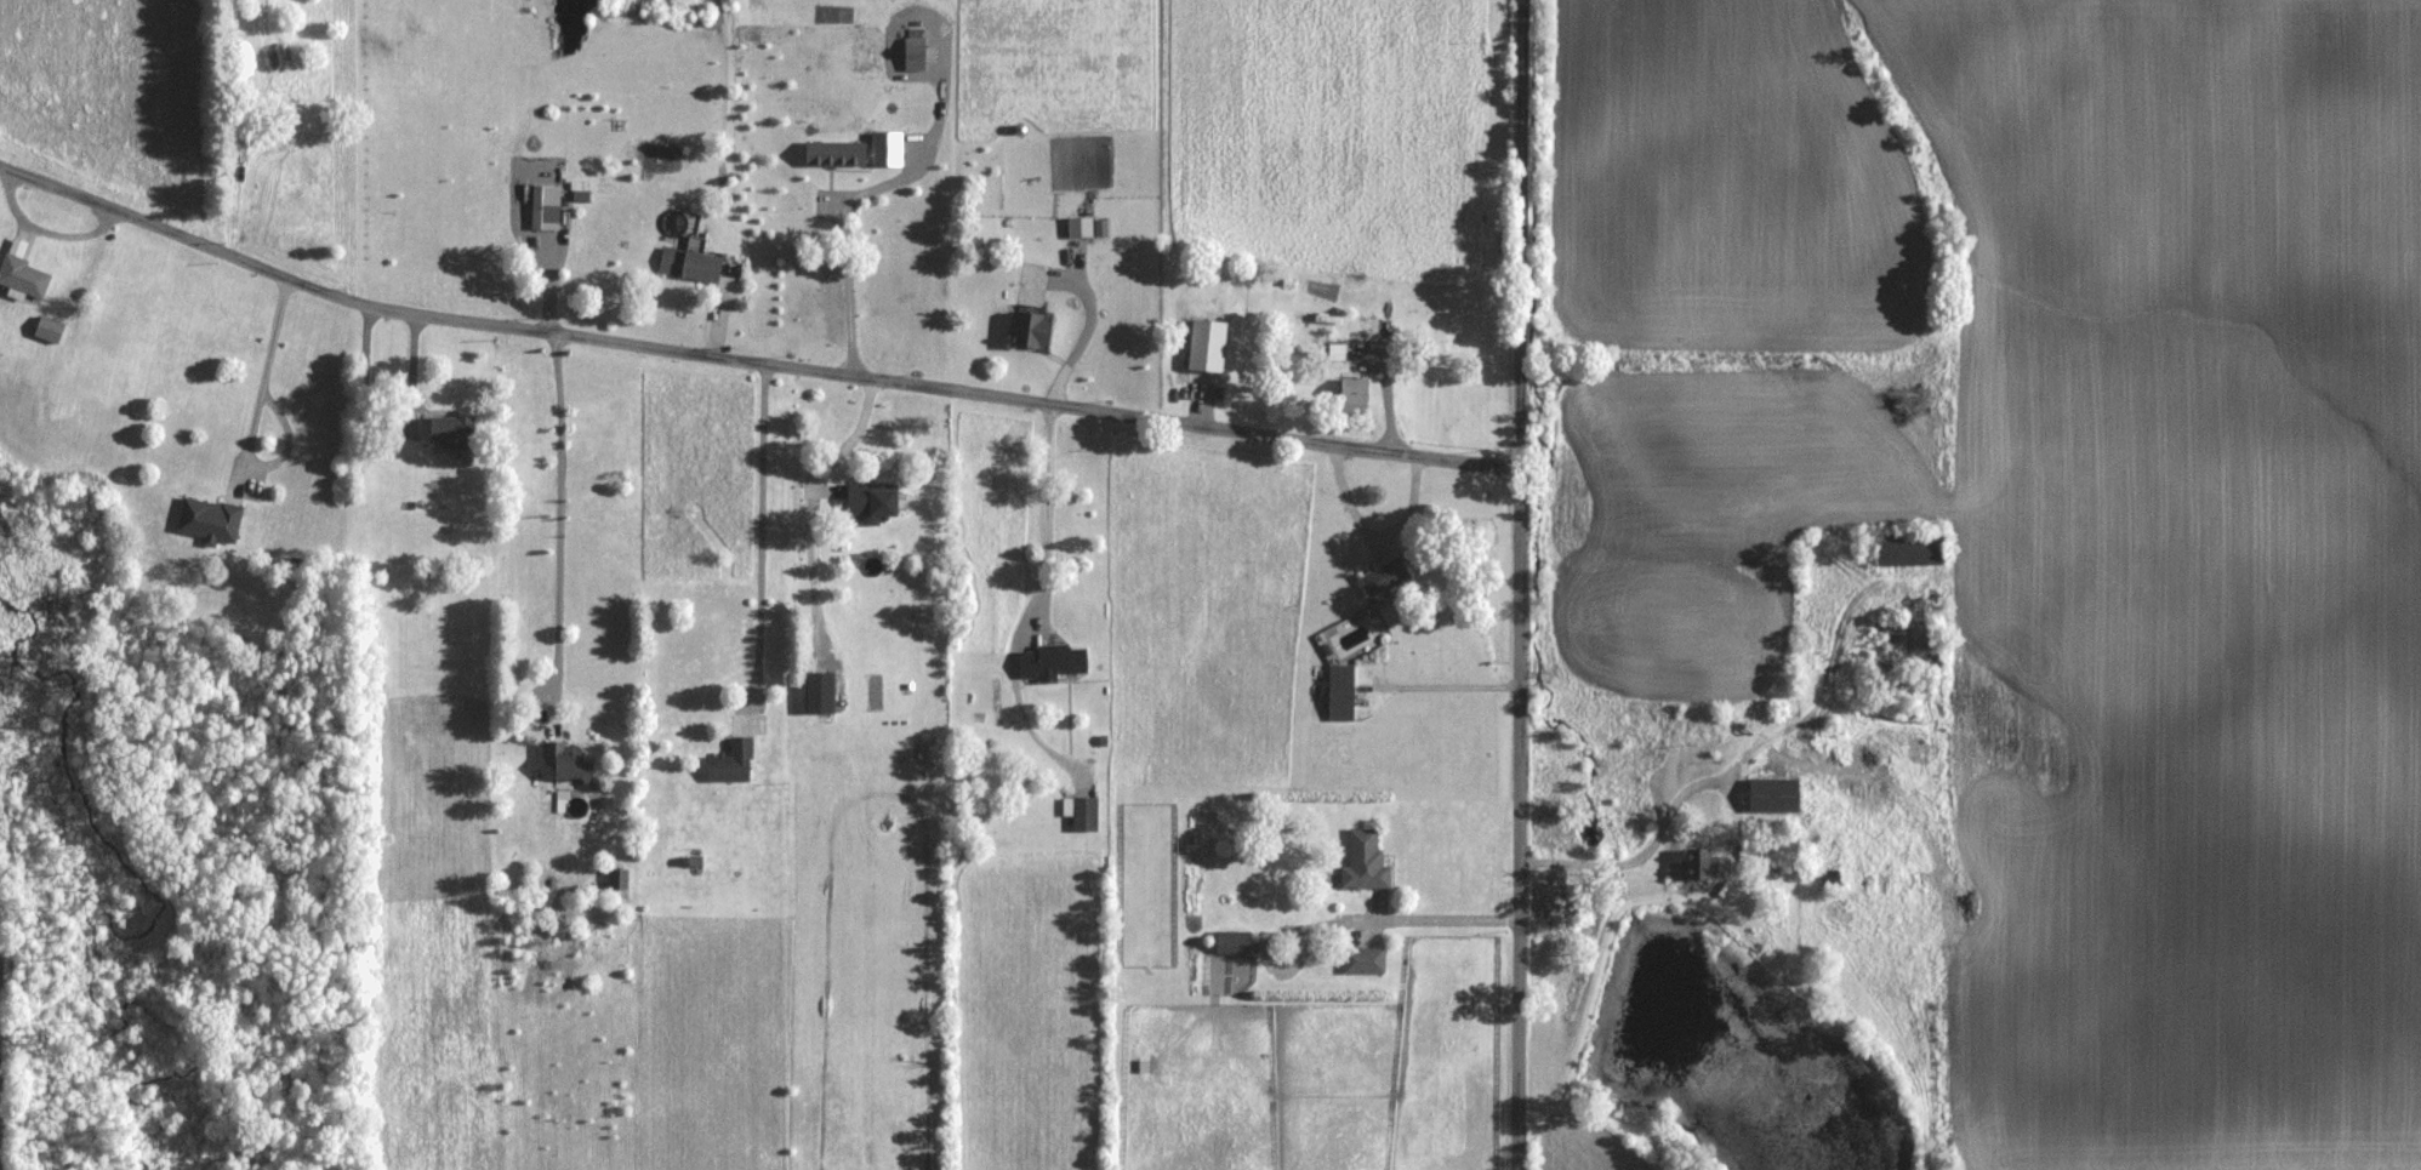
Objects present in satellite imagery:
building: (913, 51)
building: (807, 93)
building: (243, 132)
building: (286, 141)
road: (856, 195)
building: (545, 217)
building: (1080, 228)
building: (689, 266)
building: (21, 273)
building: (47, 330)
building: (1029, 330)
road: (1080, 342)
building: (1335, 353)
road: (748, 360)
building: (1352, 393)
road: (252, 422)
building: (451, 432)
road: (838, 450)
building: (870, 503)
road: (1044, 506)
building: (207, 521)
road: (558, 523)
road: (759, 530)
building: (1907, 550)
building: (1383, 578)
road: (1522, 584)
building: (389, 616)
building: (1899, 646)
building: (1050, 662)
road: (1448, 684)
building: (818, 694)
building: (1340, 694)
building: (564, 764)
building: (731, 764)
building: (1772, 797)
building: (1084, 815)
road: (1635, 858)
building: (1363, 862)
building: (1698, 867)
building: (617, 880)
building: (1829, 880)
road: (1335, 919)
building: (1231, 946)

